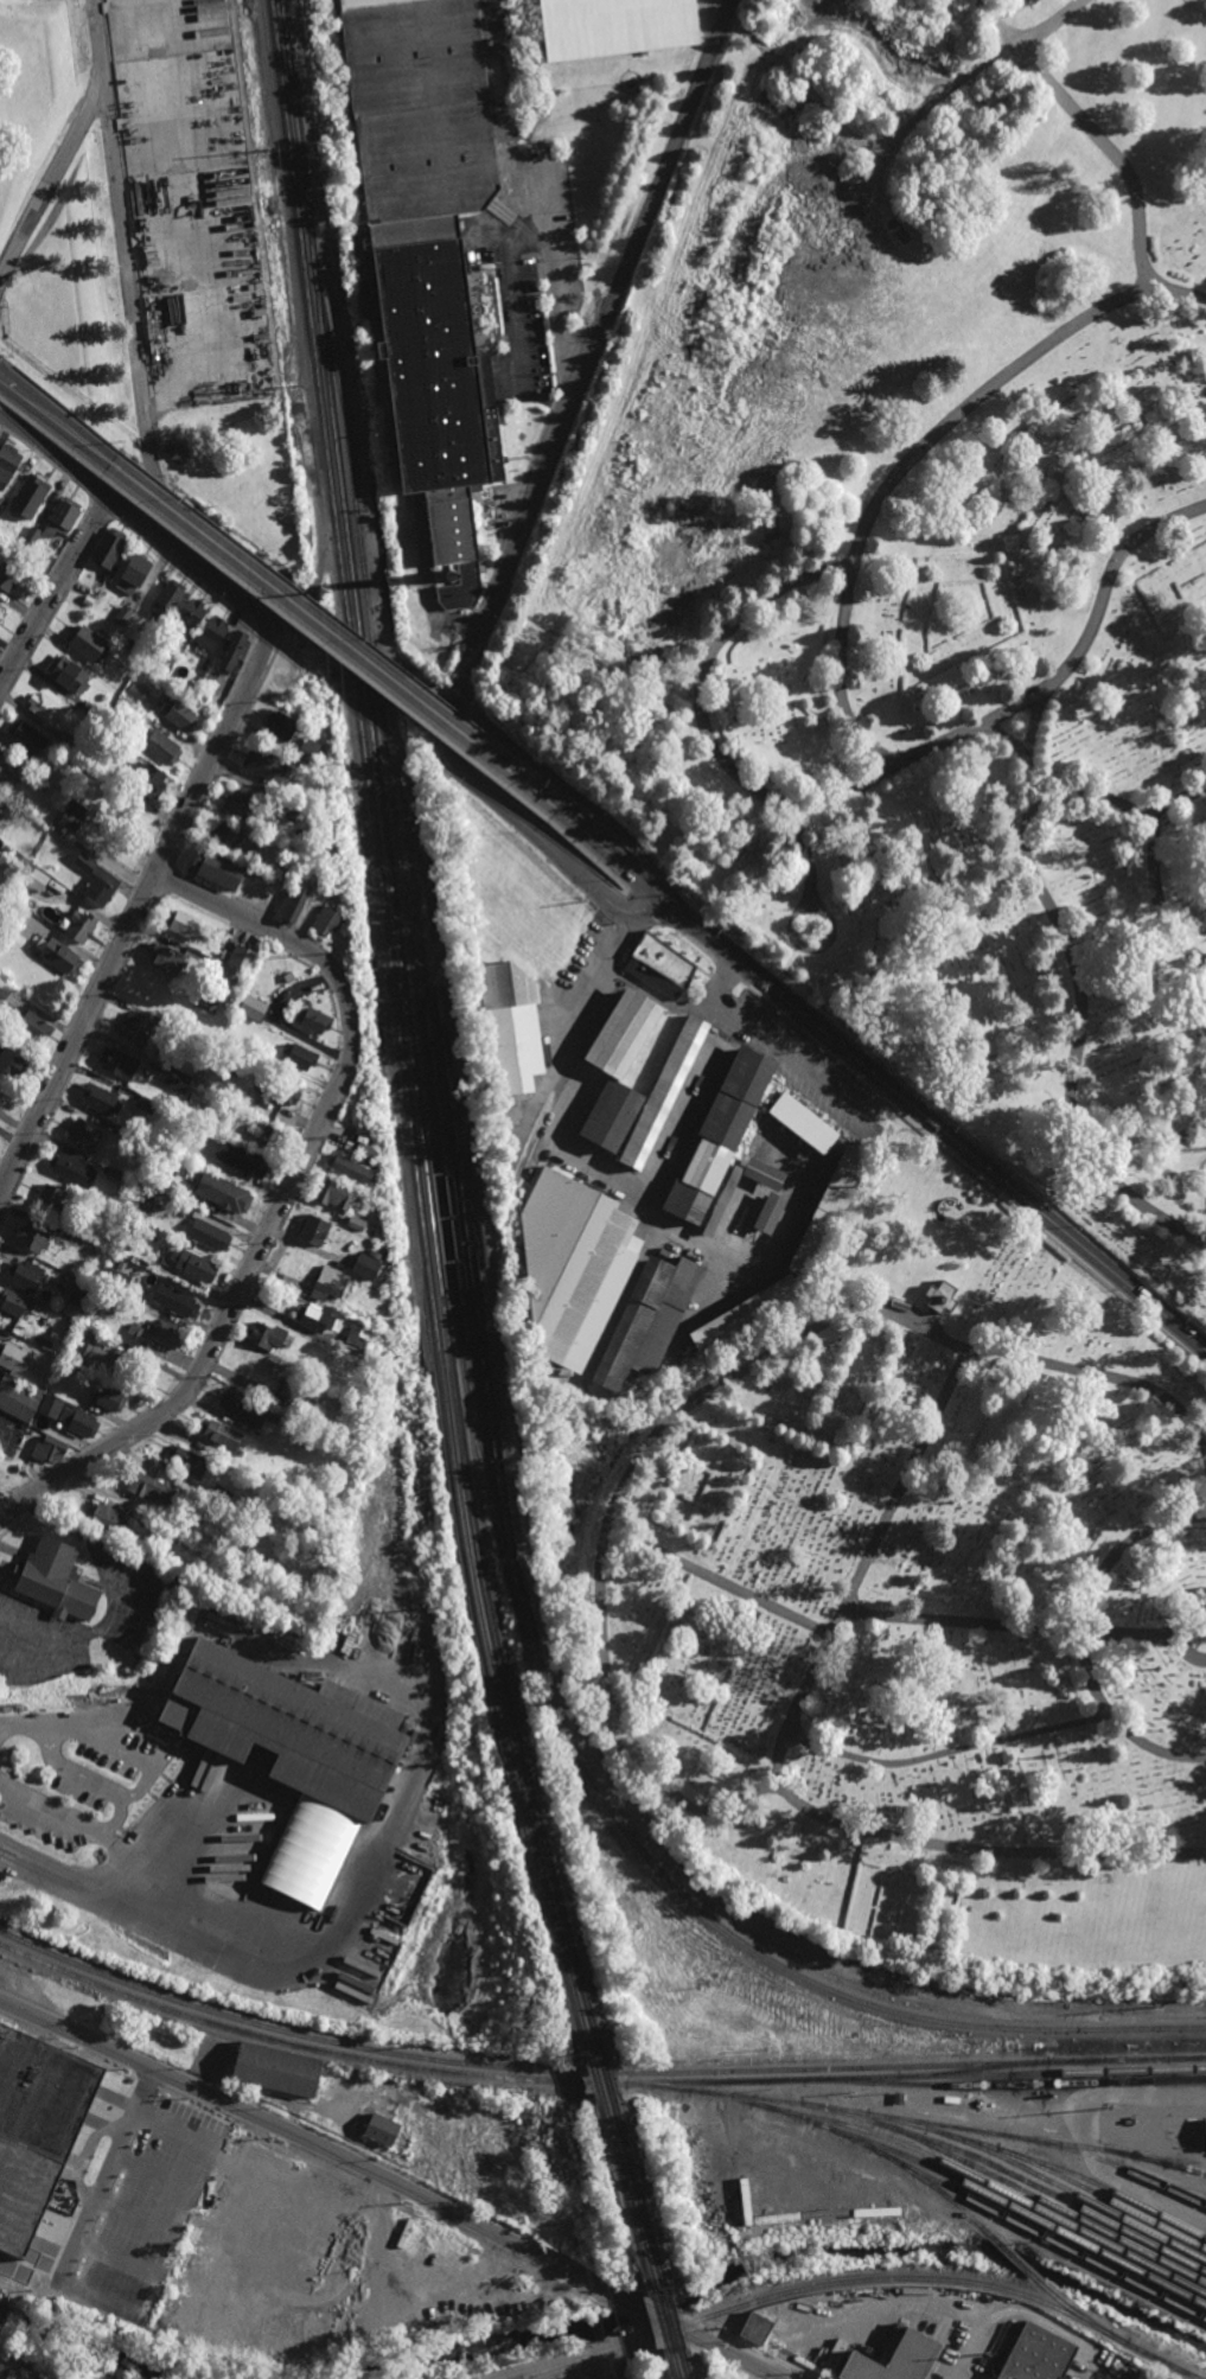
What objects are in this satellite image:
road: (1048, 25)
building: (168, 26)
building: (615, 26)
road: (94, 39)
building: (181, 111)
road: (1091, 130)
railway: (291, 148)
power tower: (266, 151)
building: (540, 151)
road: (115, 194)
building: (196, 230)
building: (433, 248)
road: (555, 270)
road: (517, 313)
road: (601, 331)
building: (211, 349)
power tower: (295, 384)
road: (58, 423)
road: (51, 436)
building: (178, 449)
building: (8, 463)
building: (28, 496)
road: (885, 498)
road: (138, 517)
building: (63, 518)
building: (32, 535)
building: (109, 548)
building: (135, 573)
park: (934, 574)
building: (8, 578)
road: (427, 591)
road: (55, 592)
power tower: (327, 592)
building: (168, 598)
building: (1, 608)
road: (1096, 612)
building: (122, 616)
building: (191, 616)
building: (133, 627)
building: (211, 632)
road: (337, 642)
building: (88, 643)
road: (327, 649)
building: (232, 652)
building: (68, 674)
building: (210, 678)
building: (192, 685)
building: (204, 690)
building: (138, 691)
building: (44, 707)
road: (702, 708)
building: (96, 710)
building: (179, 713)
building: (280, 725)
building: (27, 740)
building: (71, 741)
building: (160, 746)
building: (307, 750)
road: (1013, 763)
building: (263, 765)
power tower: (339, 771)
building: (49, 774)
building: (7, 776)
building: (79, 780)
building: (143, 782)
building: (43, 785)
road: (572, 795)
road: (1180, 801)
road: (498, 802)
building: (241, 803)
building: (291, 810)
building: (74, 815)
building: (225, 834)
building: (327, 837)
road: (567, 847)
building: (6, 848)
building: (291, 848)
road: (602, 850)
building: (84, 860)
building: (217, 865)
building: (37, 878)
building: (100, 889)
road: (640, 898)
building: (295, 900)
road: (671, 905)
building: (11, 908)
road: (649, 910)
road: (1045, 911)
road: (800, 912)
road: (140, 913)
road: (626, 916)
building: (24, 918)
building: (325, 919)
building: (184, 920)
building: (81, 924)
building: (228, 929)
building: (517, 939)
road: (694, 945)
building: (59, 953)
power tower: (363, 953)
building: (242, 955)
building: (168, 956)
building: (659, 964)
road: (728, 971)
building: (230, 976)
building: (5, 987)
road: (710, 997)
building: (204, 1003)
building: (251, 1006)
building: (313, 1018)
building: (31, 1022)
building: (138, 1027)
building: (170, 1027)
building: (623, 1029)
railway: (409, 1032)
building: (299, 1054)
building: (12, 1060)
building: (120, 1060)
road: (792, 1060)
building: (177, 1079)
railway: (436, 1086)
building: (280, 1089)
building: (664, 1091)
road: (868, 1091)
building: (102, 1097)
building: (366, 1097)
building: (147, 1103)
building: (611, 1112)
building: (804, 1122)
building: (184, 1129)
building: (262, 1131)
building: (85, 1133)
building: (720, 1133)
power tower: (388, 1135)
railway: (534, 1135)
road: (951, 1135)
building: (179, 1136)
building: (132, 1137)
building: (177, 1144)
building: (364, 1149)
building: (241, 1157)
road: (576, 1161)
building: (74, 1166)
building: (349, 1167)
railway: (462, 1172)
building: (119, 1173)
road: (974, 1176)
railway: (417, 1182)
building: (122, 1188)
building: (333, 1193)
road: (286, 1195)
building: (51, 1197)
building: (232, 1197)
building: (717, 1208)
building: (828, 1210)
building: (143, 1211)
building: (770, 1212)
building: (357, 1219)
building: (313, 1229)
building: (87, 1231)
building: (209, 1233)
building: (33, 1236)
railway: (485, 1259)
road: (732, 1262)
building: (573, 1263)
building: (194, 1265)
building: (365, 1265)
building: (26, 1274)
building: (116, 1280)
building: (327, 1283)
building: (82, 1294)
building: (940, 1296)
building: (177, 1301)
building: (15, 1302)
building: (125, 1306)
building: (745, 1313)
building: (315, 1315)
building: (646, 1321)
building: (70, 1326)
building: (92, 1334)
building: (161, 1334)
building: (267, 1334)
building: (358, 1344)
road: (786, 1350)
building: (71, 1354)
building: (102, 1357)
building: (18, 1359)
building: (326, 1380)
railway: (466, 1384)
power tower: (411, 1386)
building: (296, 1389)
building: (109, 1397)
building: (20, 1398)
building: (50, 1405)
building: (243, 1409)
building: (352, 1416)
building: (274, 1418)
building: (40, 1421)
building: (81, 1421)
building: (221, 1434)
building: (49, 1449)
building: (189, 1461)
building: (149, 1487)
building: (219, 1495)
building: (107, 1518)
building: (161, 1530)
building: (208, 1536)
building: (149, 1549)
building: (57, 1580)
building: (1202, 1587)
road: (721, 1588)
park: (919, 1599)
power tower: (447, 1601)
road: (31, 1632)
road: (1029, 1632)
road: (1080, 1640)
road: (1176, 1648)
road: (60, 1721)
building: (285, 1724)
road: (103, 1741)
building: (760, 1749)
road: (946, 1749)
road: (91, 1780)
road: (138, 1792)
road: (47, 1809)
road: (983, 1847)
road: (44, 1876)
power tower: (537, 2030)
railway: (326, 2042)
railway: (305, 2049)
railway: (938, 2066)
building: (276, 2069)
railway: (606, 2074)
railway: (955, 2074)
railway: (595, 2077)
railway: (917, 2078)
railway: (1017, 2087)
railway: (677, 2091)
building: (898, 2098)
building: (36, 2126)
road: (176, 2128)
building: (382, 2129)
road: (1089, 2137)
railway: (1040, 2142)
railway: (977, 2144)
railway: (872, 2149)
railway: (1114, 2149)
road: (414, 2160)
railway: (1174, 2160)
road: (110, 2170)
road: (394, 2182)
railway: (1168, 2182)
railway: (1014, 2186)
railway: (997, 2187)
railway: (1083, 2187)
railway: (1044, 2190)
railway: (638, 2193)
railway: (1116, 2194)
railway: (627, 2195)
railway: (1012, 2207)
railway: (1046, 2236)
railway: (1020, 2264)
railway: (857, 2281)
railway: (1087, 2321)
railway: (672, 2322)
railway: (663, 2324)
building: (755, 2330)
road: (638, 2346)
building: (1038, 2356)
building: (896, 2359)
road: (549, 2361)
road: (751, 2365)
railway: (683, 2366)
railway: (674, 2367)
building: (12, 2375)
building: (1142, 2377)
building: (1160, 2377)
building: (1154, 2378)

